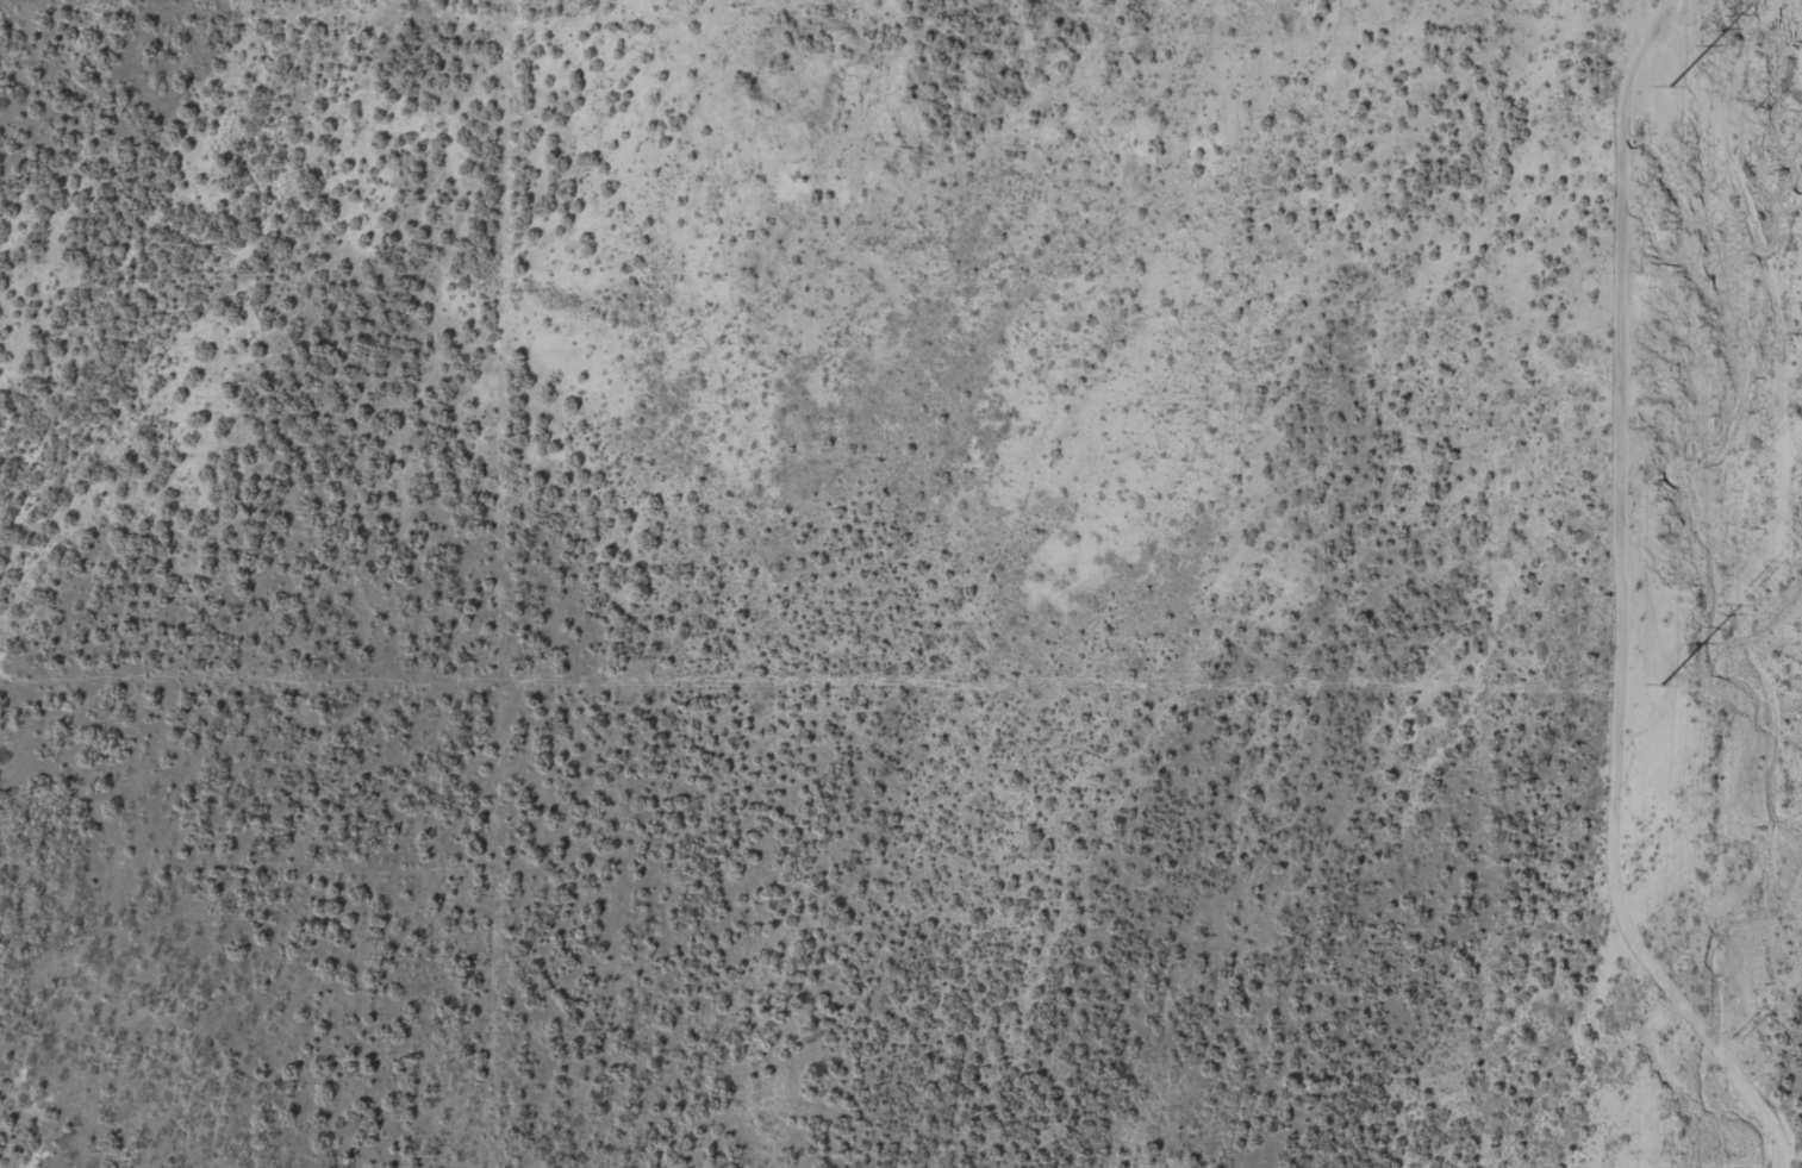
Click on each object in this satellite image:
power tower: (1670, 87)
power tower: (1758, 110)
power tower: (1751, 585)
power tower: (1661, 686)
power tower: (1744, 1039)

